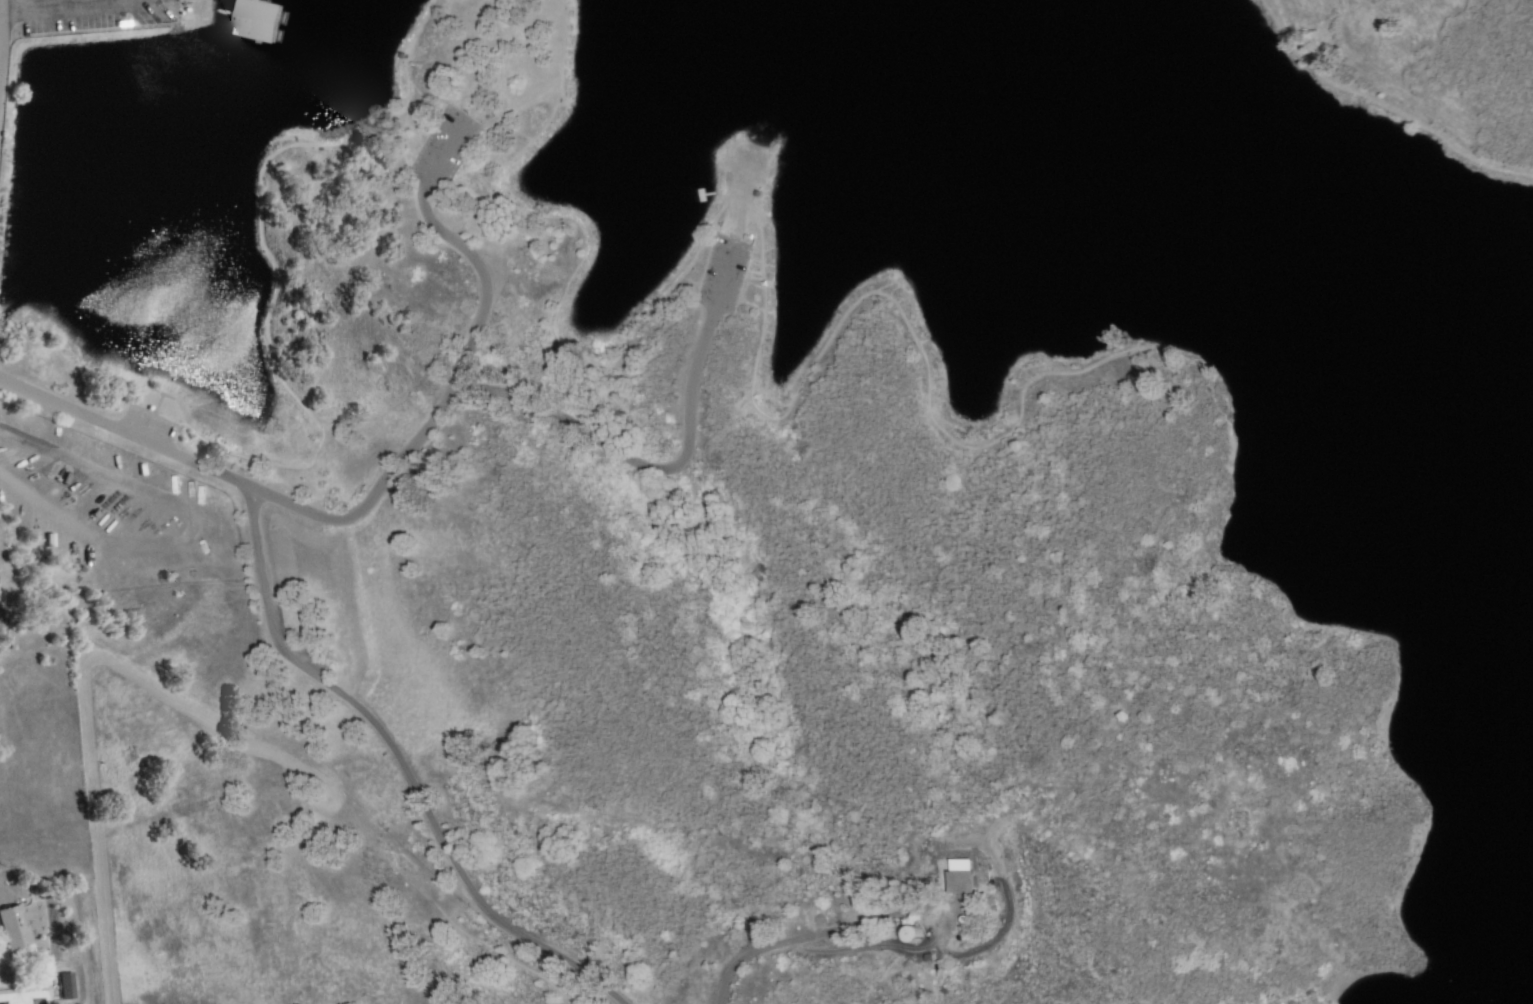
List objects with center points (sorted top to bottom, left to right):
building: (244, 20)
road: (127, 434)
road: (405, 452)
road: (376, 782)
building: (949, 873)
road: (74, 888)
road: (263, 916)
building: (15, 927)
road: (892, 959)
building: (68, 986)

